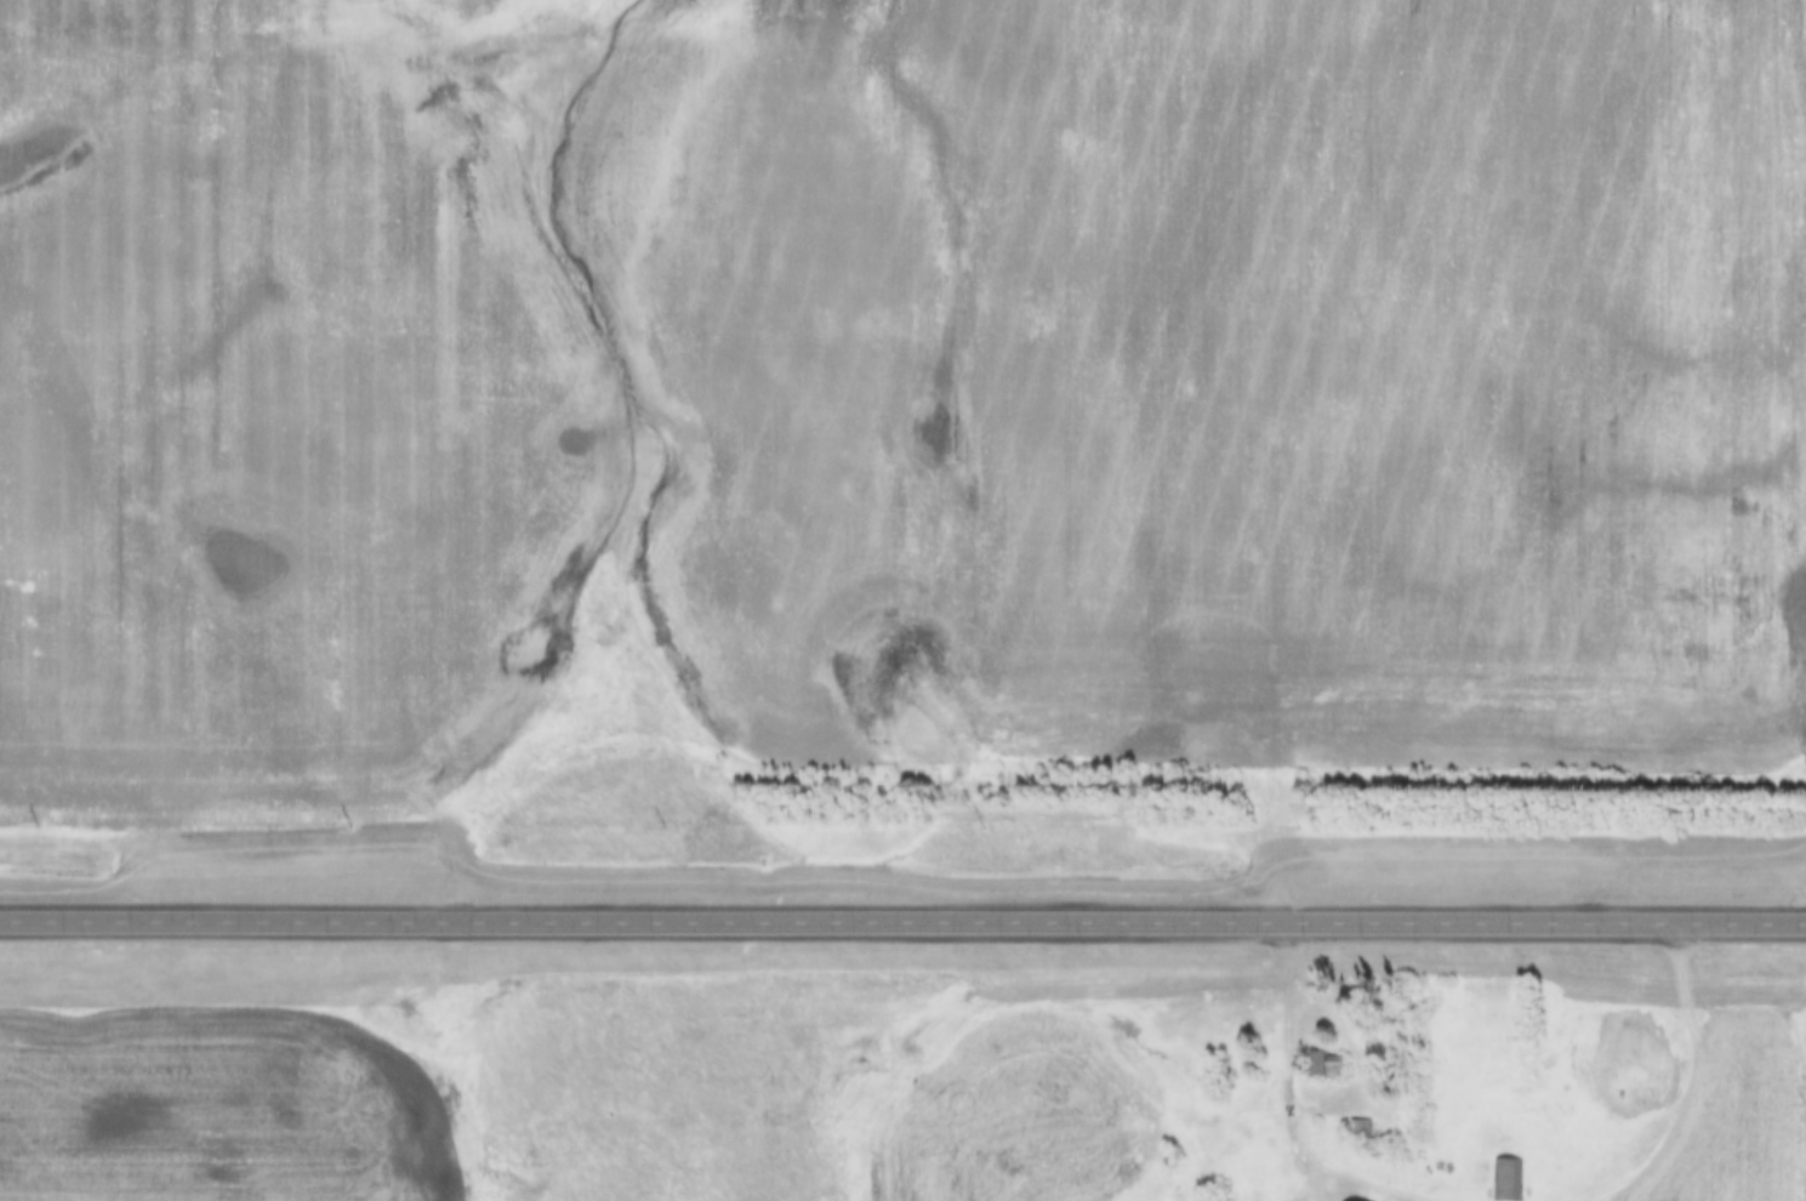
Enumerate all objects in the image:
road: (902, 927)
building: (1320, 1066)
road: (1291, 1095)
building: (1357, 1129)
building: (1506, 1179)

